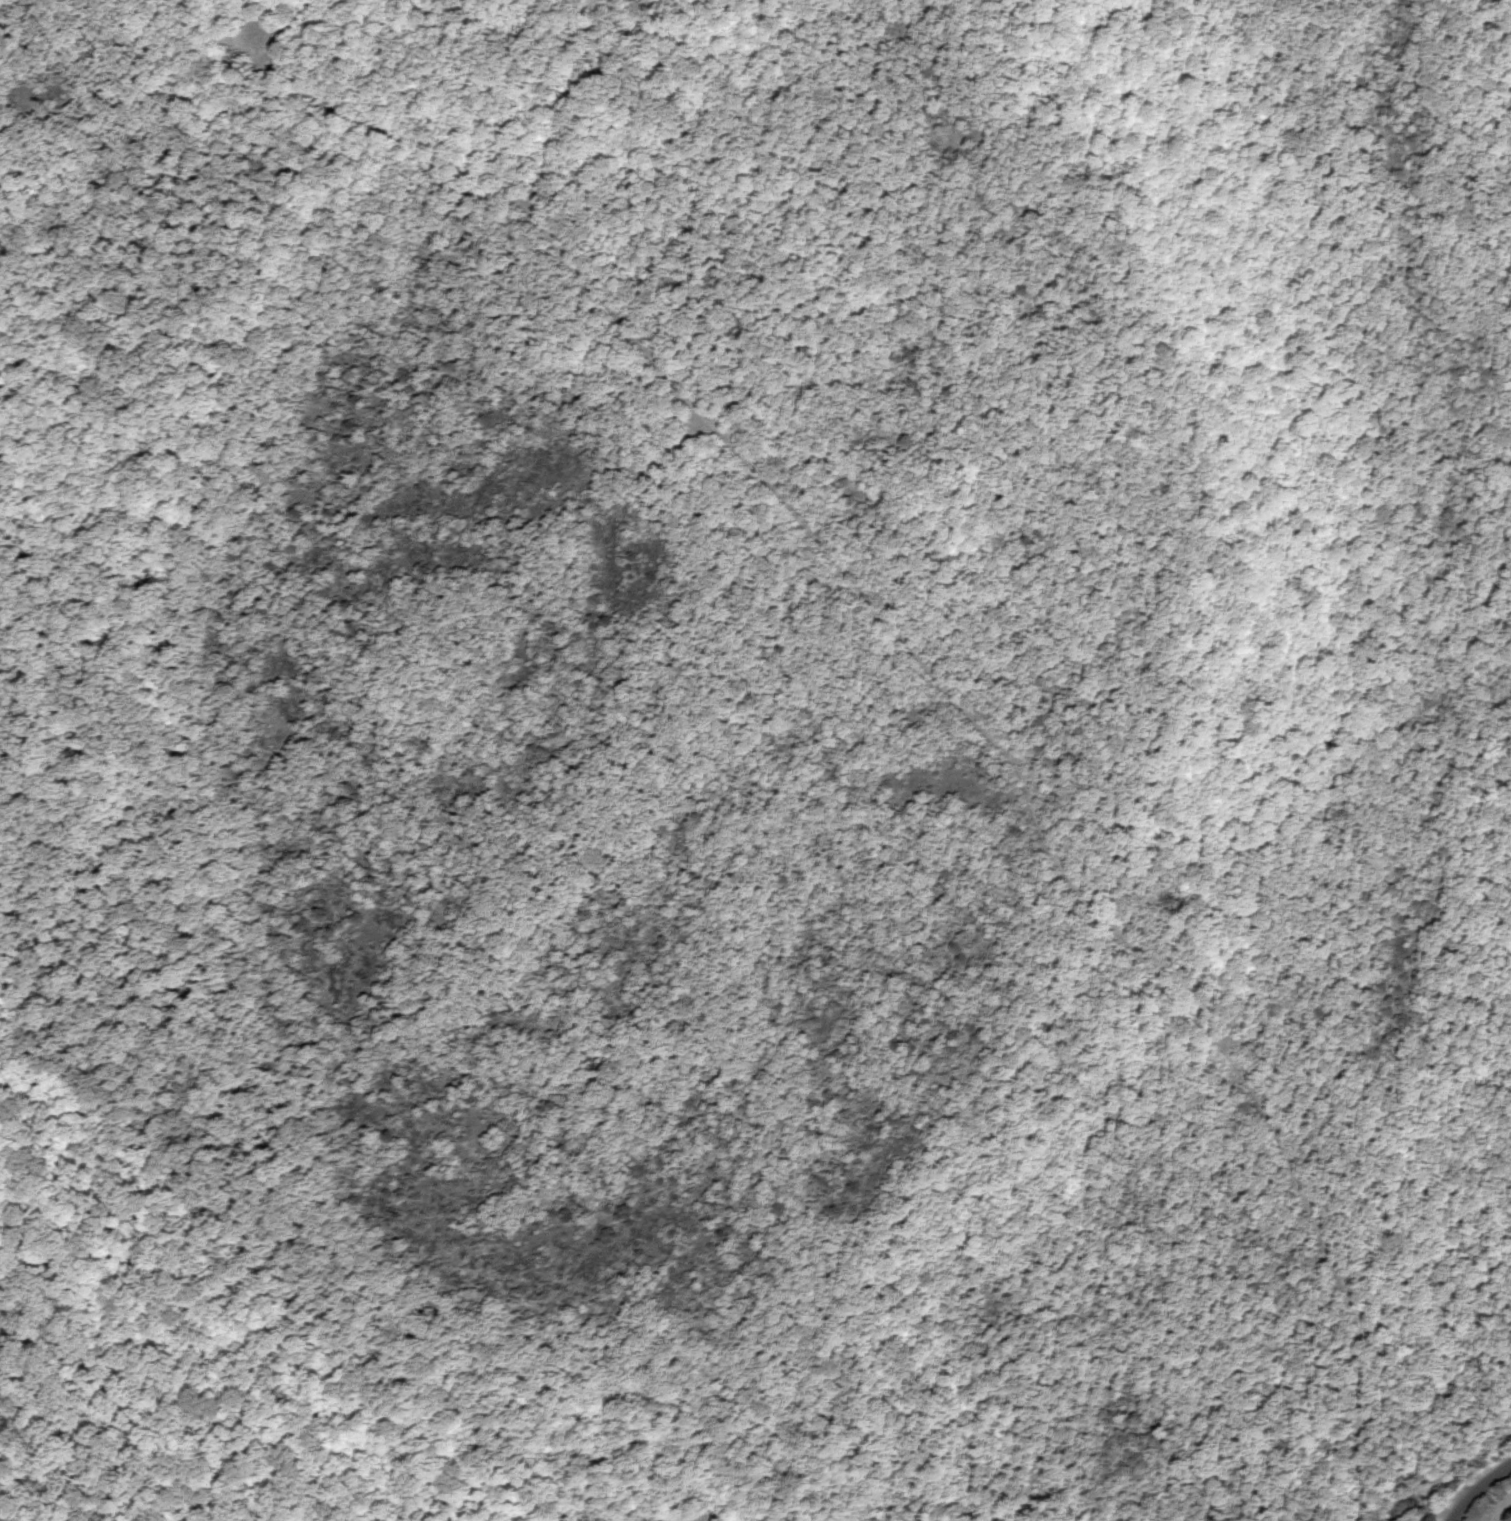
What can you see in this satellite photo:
road: (1492, 1502)

